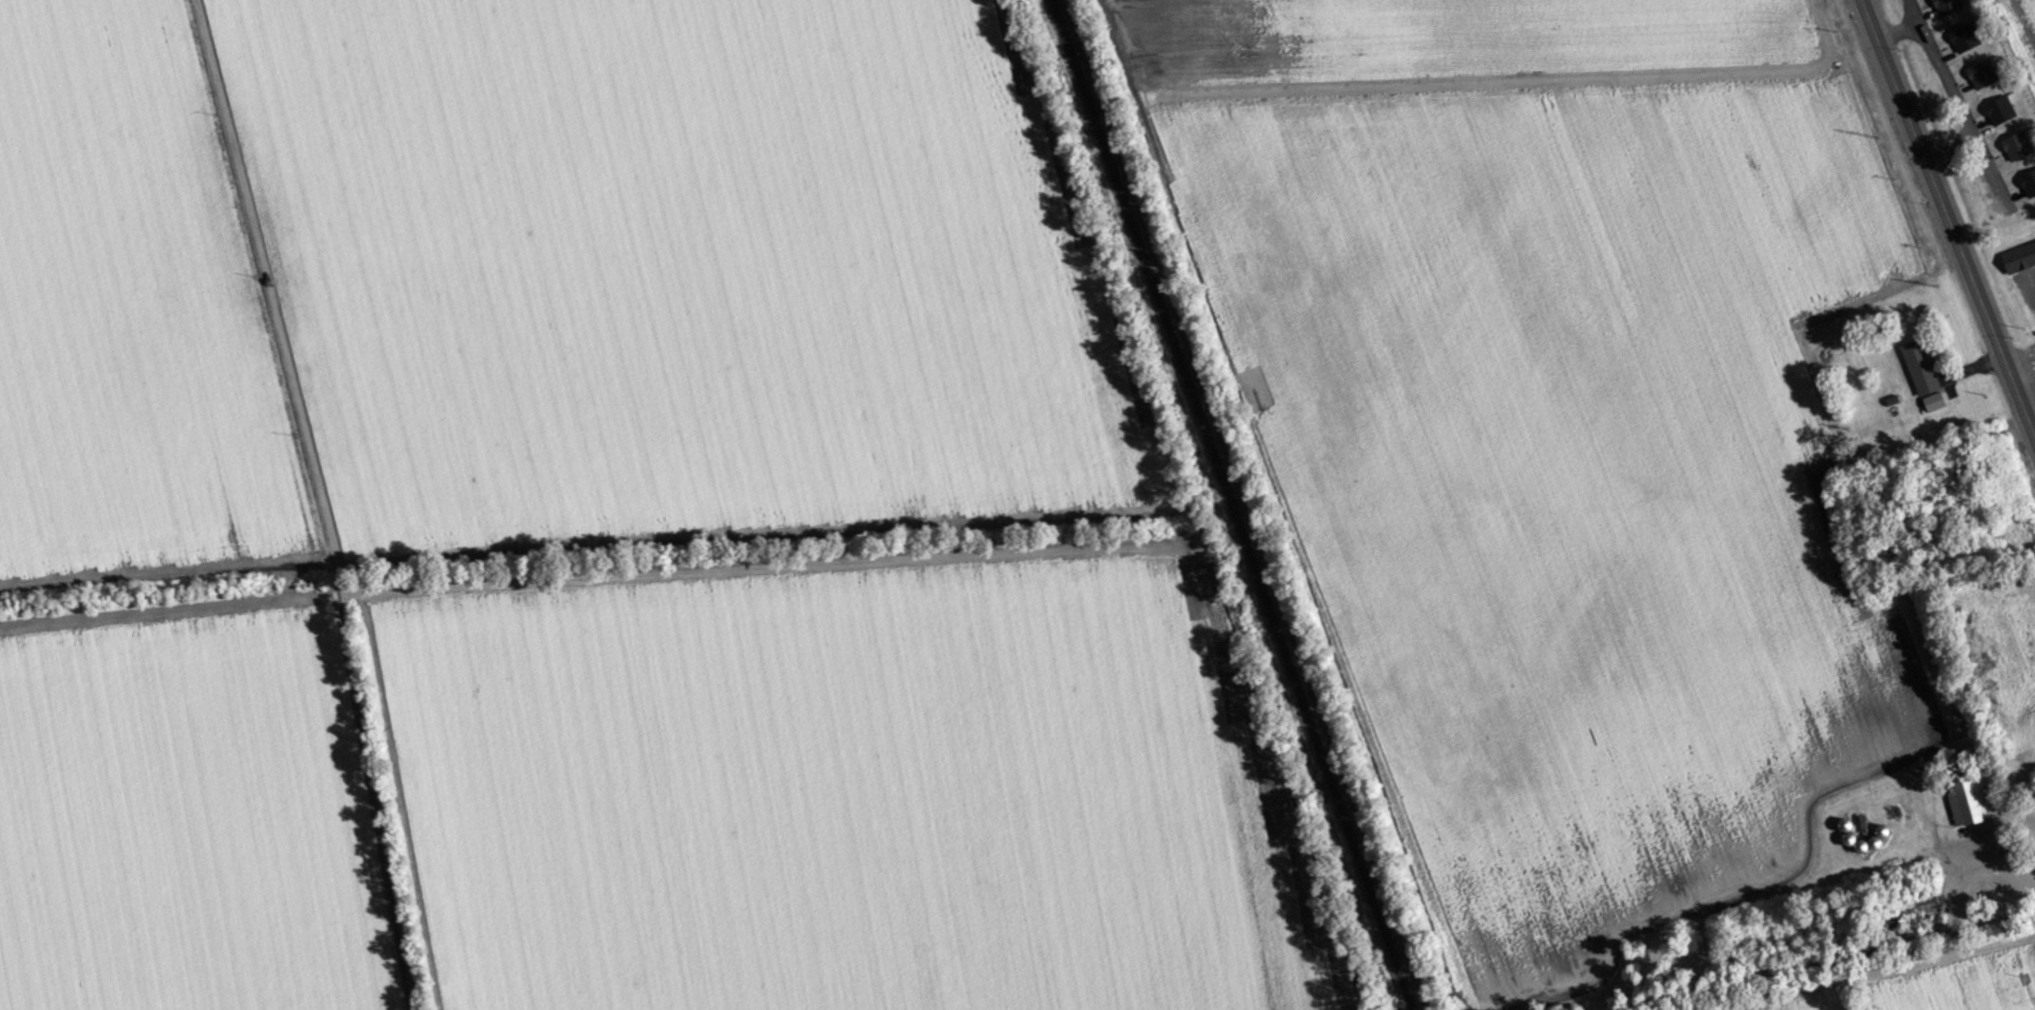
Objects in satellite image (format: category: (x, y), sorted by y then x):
building: (1949, 6)
building: (1966, 38)
building: (1983, 74)
building: (2001, 111)
building: (2018, 146)
building: (2029, 184)
road: (1948, 216)
building: (2020, 258)
building: (1922, 367)
road: (323, 503)
railway: (1233, 505)
building: (1971, 801)
building: (1850, 840)
building: (1875, 841)

